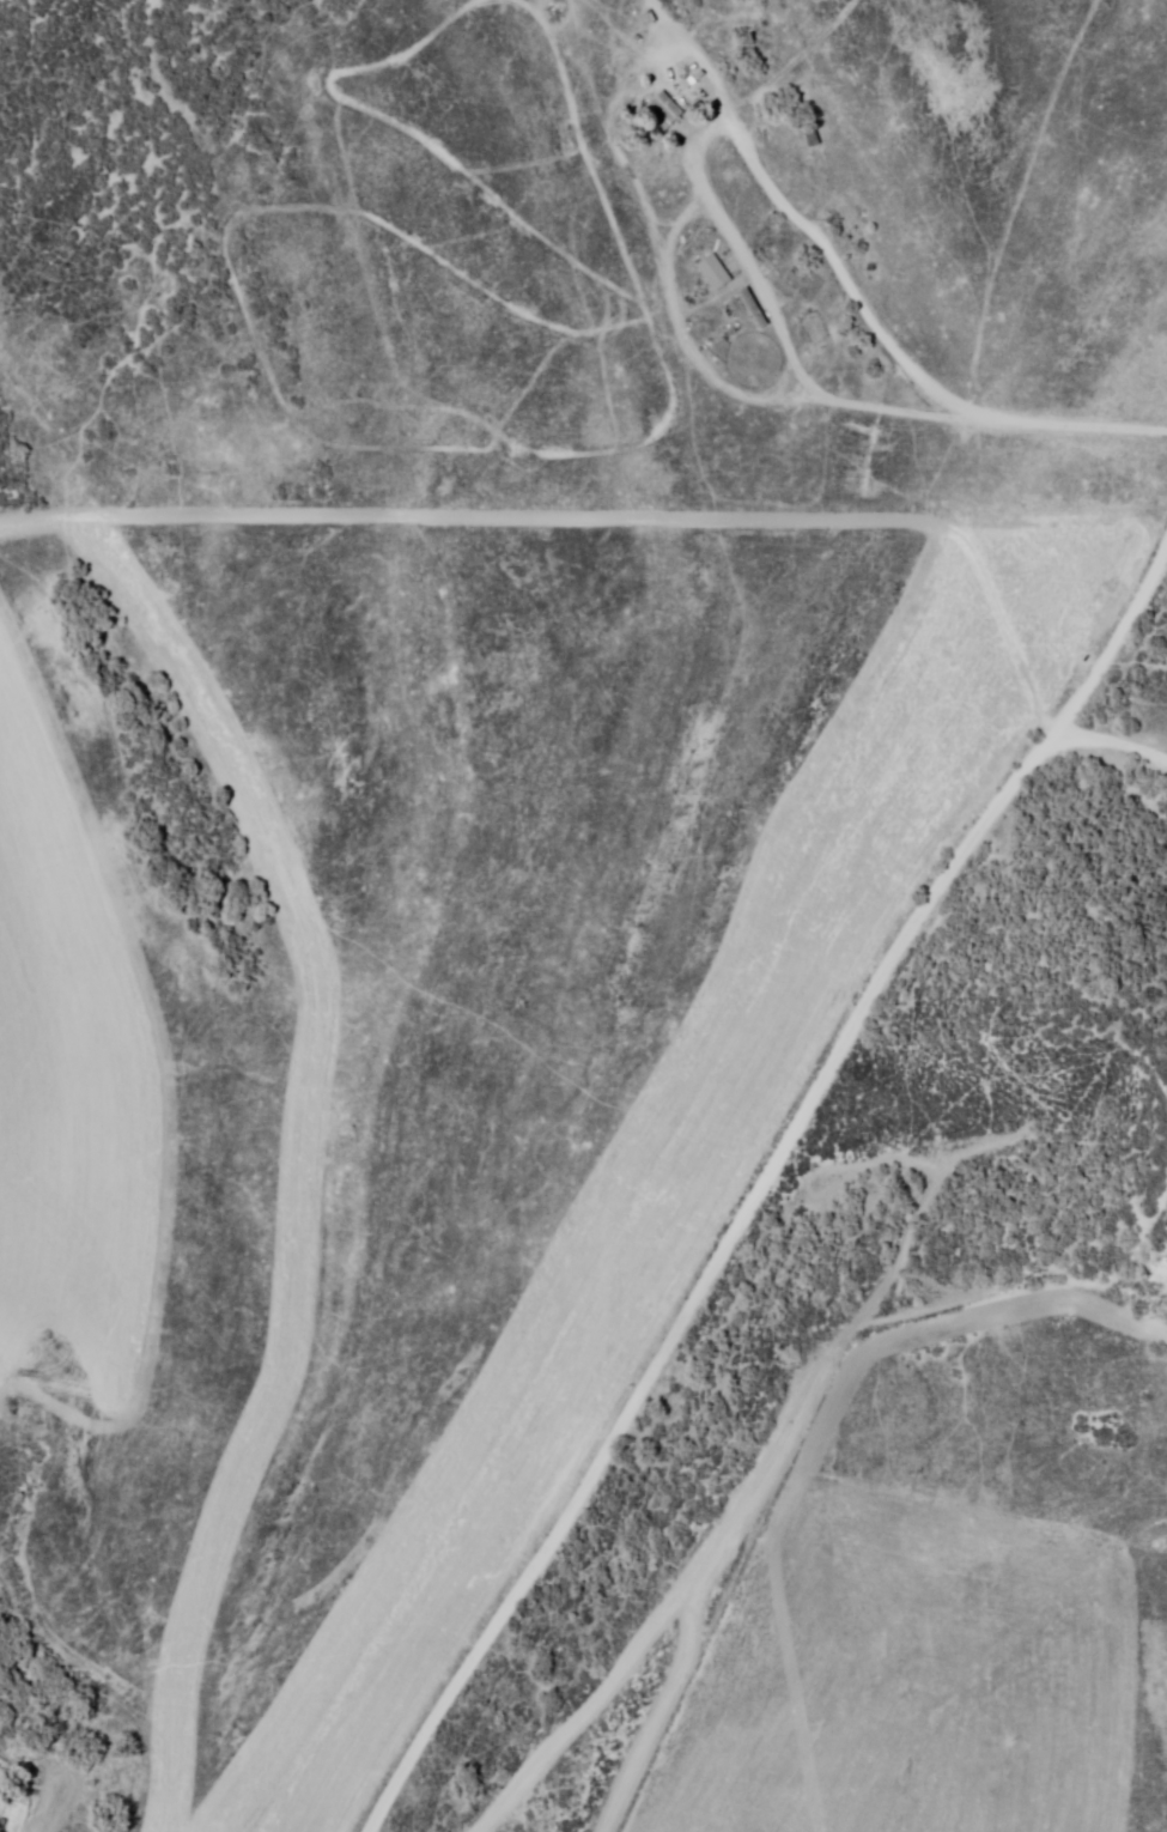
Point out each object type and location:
building: (664, 111)
building: (712, 273)
building: (752, 308)
road: (888, 378)
road: (1113, 742)
road: (771, 1169)

